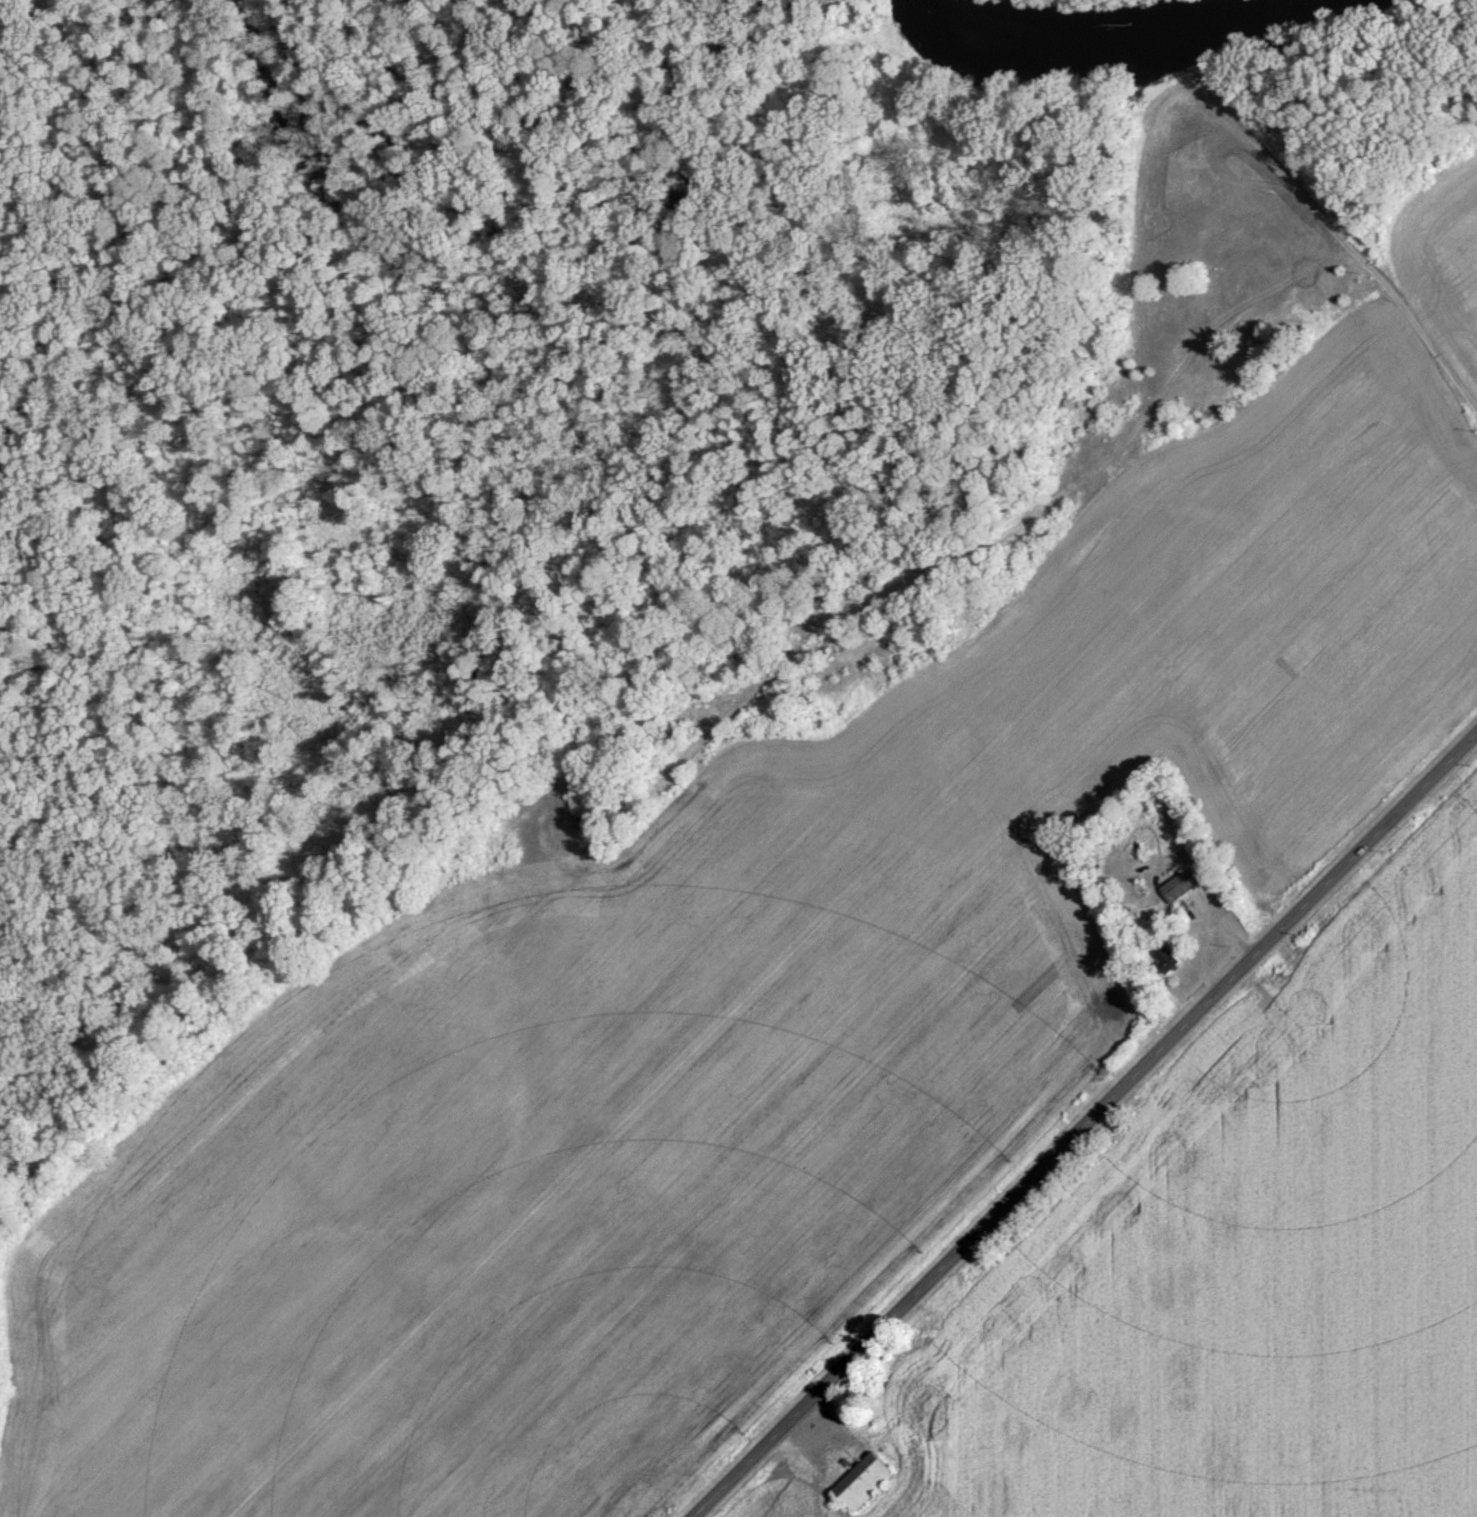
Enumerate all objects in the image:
river: (1106, 36)
building: (1180, 889)
building: (1163, 963)
road: (1084, 1124)
building: (862, 1484)

